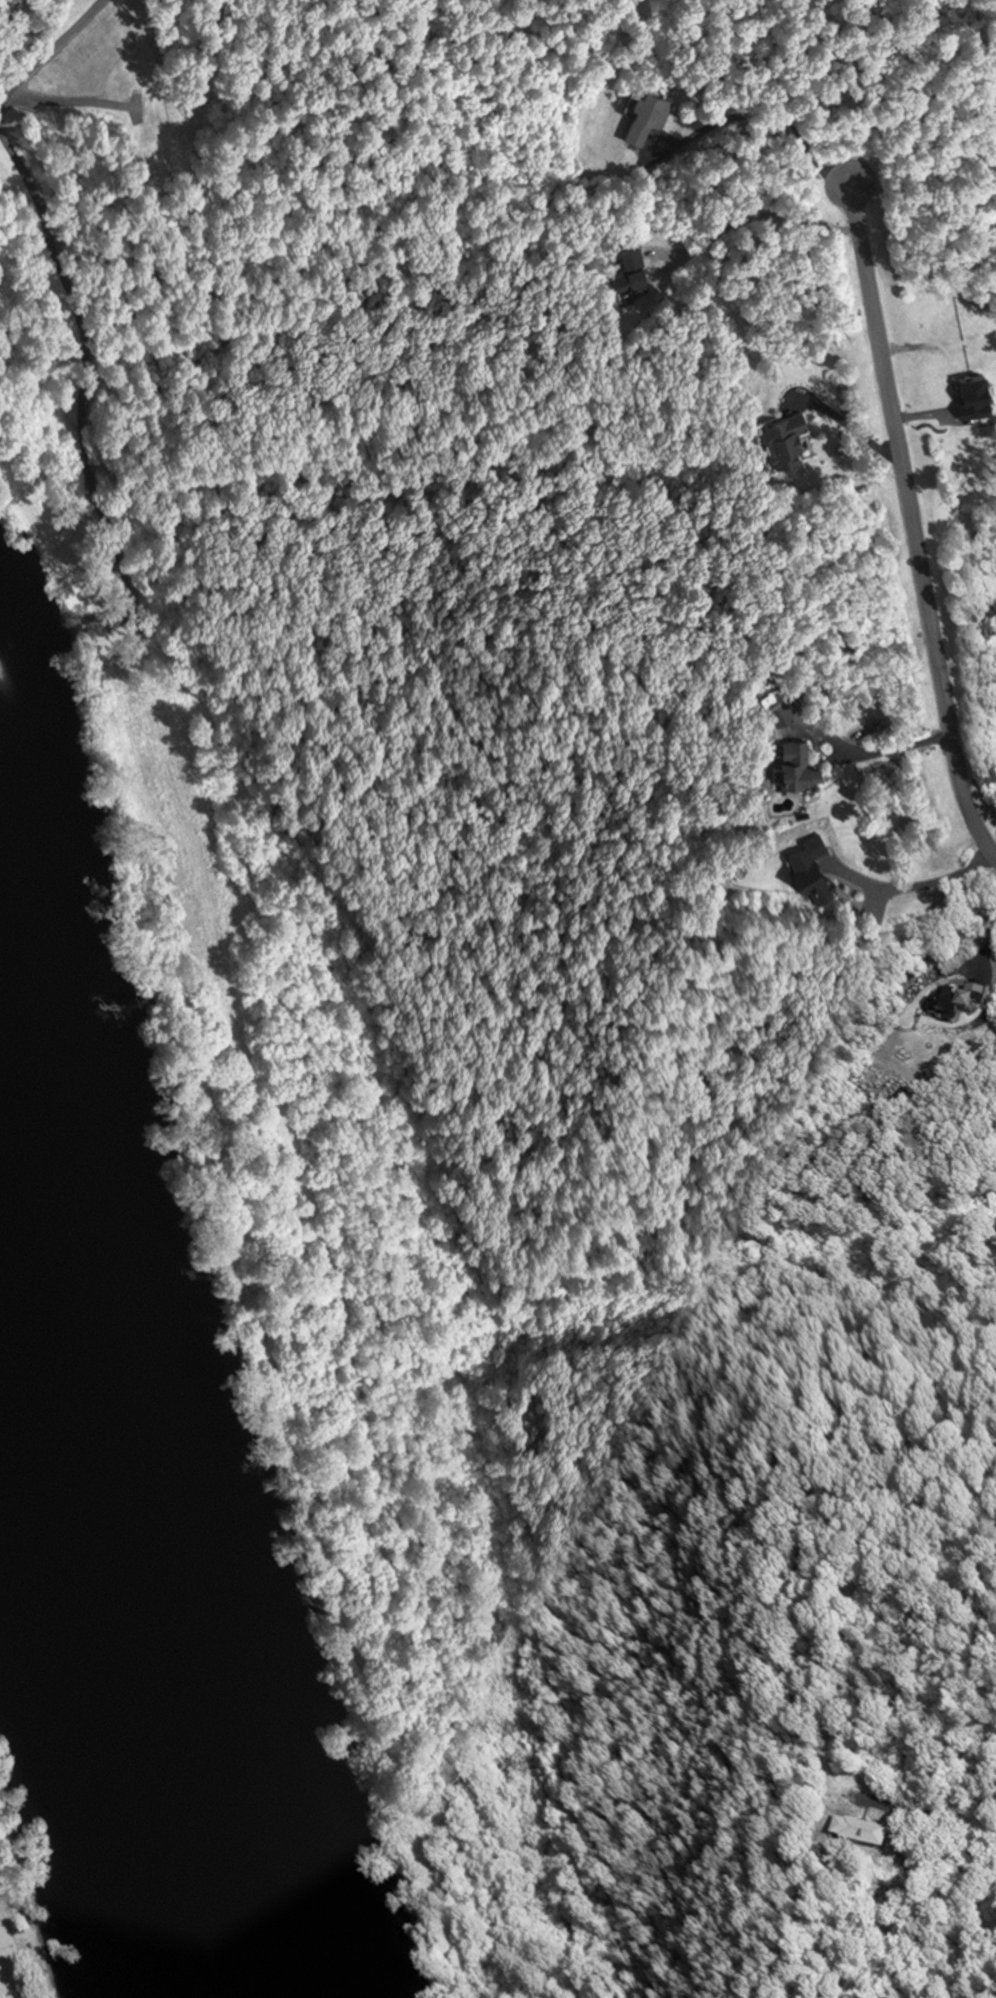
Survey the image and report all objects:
road: (50, 44)
building: (636, 113)
road: (763, 114)
building: (142, 134)
building: (623, 273)
building: (773, 439)
road: (905, 530)
road: (864, 755)
building: (786, 764)
road: (911, 886)
road: (980, 946)
river: (132, 1584)

